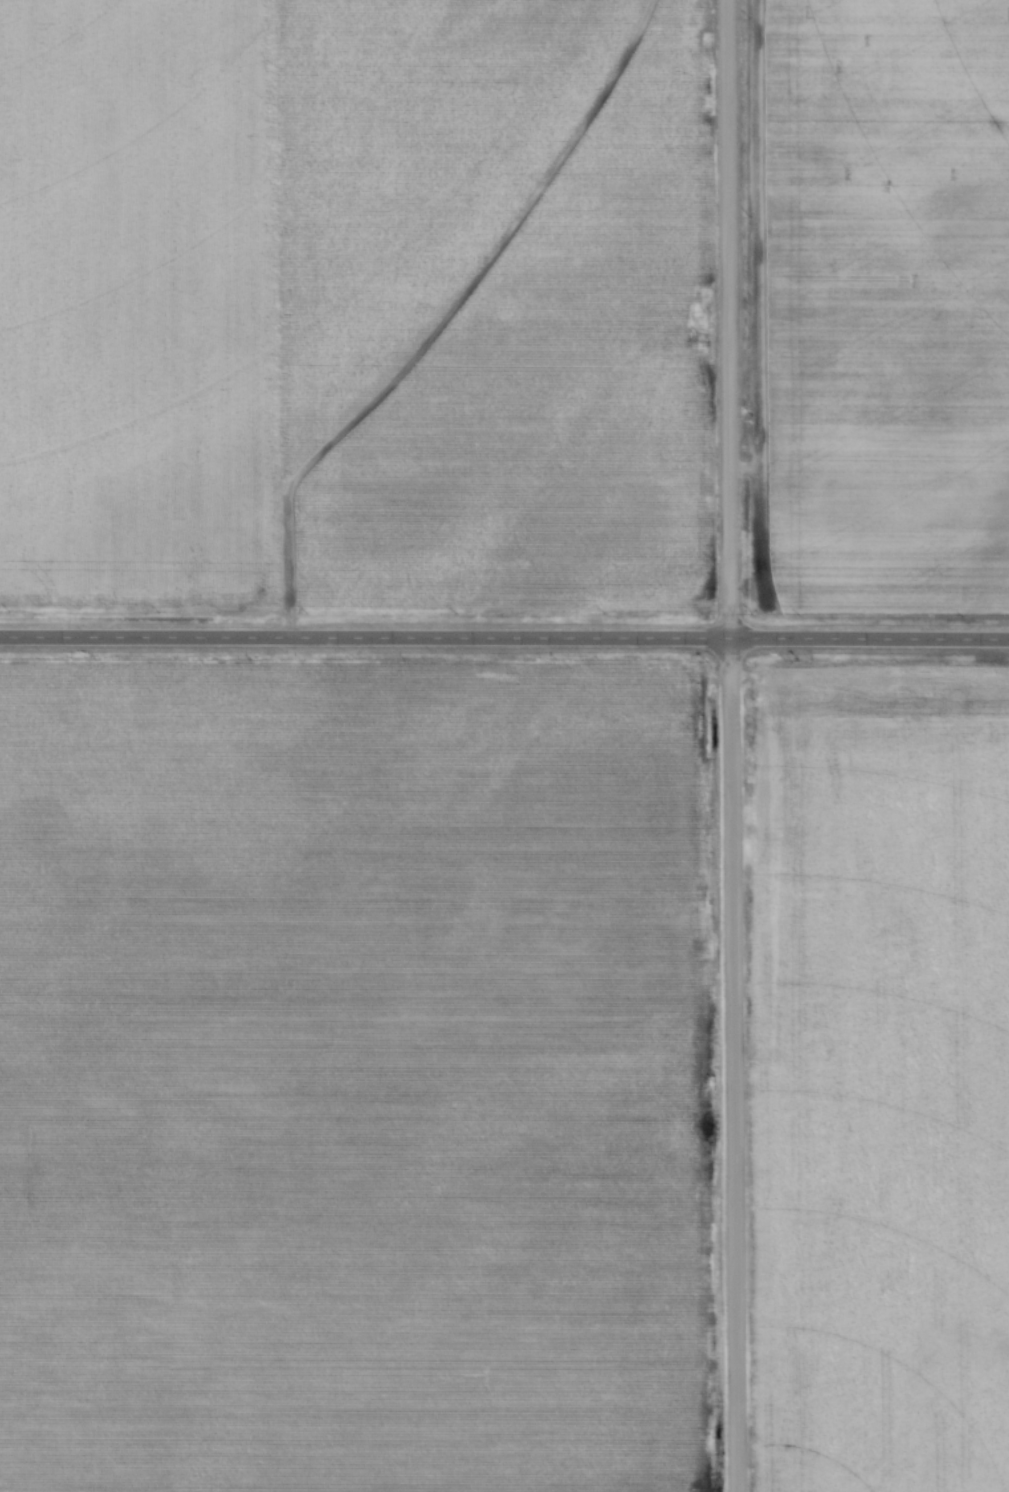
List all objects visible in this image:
road: (504, 638)
road: (729, 745)

